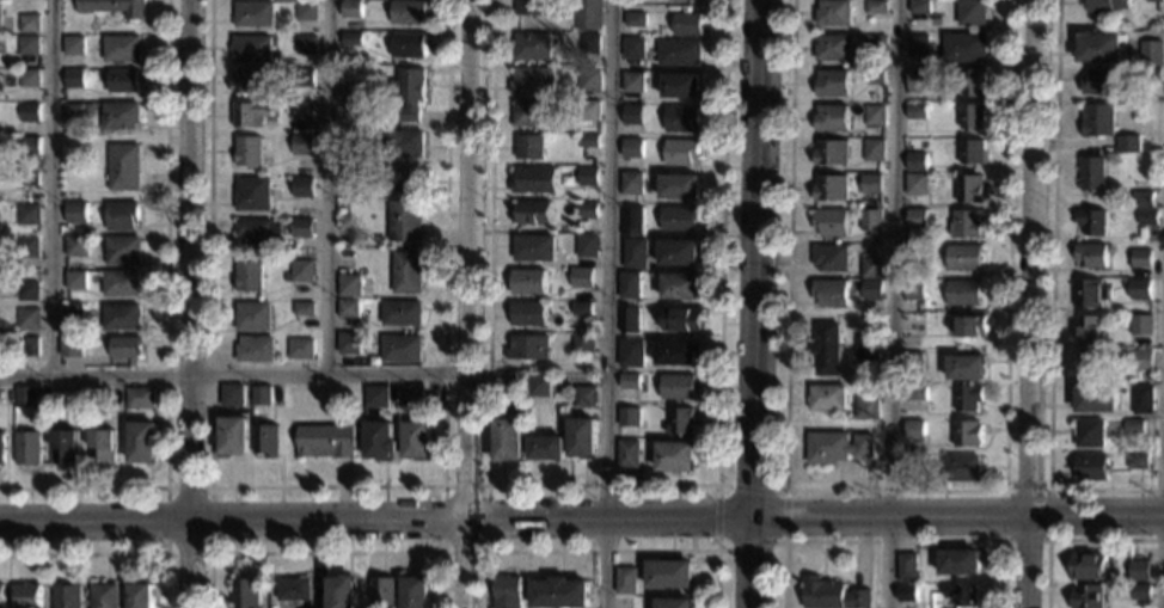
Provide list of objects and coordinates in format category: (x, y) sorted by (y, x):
building: (1150, 1)
building: (111, 7)
building: (529, 7)
building: (917, 7)
building: (1102, 7)
building: (353, 8)
building: (874, 8)
building: (307, 11)
building: (409, 12)
building: (255, 13)
building: (587, 13)
building: (832, 13)
building: (969, 13)
building: (0, 17)
building: (635, 19)
building: (29, 23)
building: (687, 24)
building: (353, 38)
building: (872, 43)
building: (27, 44)
building: (307, 44)
building: (588, 44)
building: (73, 45)
building: (409, 45)
building: (533, 45)
building: (914, 47)
building: (253, 48)
building: (633, 48)
building: (831, 48)
building: (1096, 48)
building: (121, 49)
building: (962, 49)
building: (1146, 51)
building: (679, 53)
building: (1147, 74)
building: (29, 78)
building: (305, 78)
building: (871, 78)
building: (74, 79)
building: (534, 80)
building: (588, 80)
building: (123, 81)
building: (245, 81)
building: (631, 81)
building: (915, 81)
building: (1096, 82)
building: (831, 84)
building: (970, 84)
building: (680, 85)
building: (345, 90)
building: (410, 93)
building: (88, 110)
building: (589, 110)
building: (305, 111)
building: (30, 112)
building: (914, 112)
building: (73, 113)
building: (252, 113)
building: (532, 113)
building: (632, 115)
building: (121, 116)
building: (872, 117)
building: (969, 117)
building: (681, 118)
building: (829, 119)
building: (1095, 121)
building: (349, 136)
building: (588, 141)
building: (403, 143)
building: (30, 145)
building: (304, 145)
building: (1126, 145)
building: (531, 146)
building: (632, 149)
building: (250, 151)
building: (871, 151)
building: (681, 153)
building: (829, 153)
building: (970, 154)
building: (915, 162)
building: (123, 166)
building: (1090, 174)
building: (350, 176)
building: (588, 177)
building: (27, 178)
building: (535, 179)
building: (405, 180)
building: (631, 182)
building: (869, 185)
building: (914, 185)
road: (49, 186)
building: (304, 186)
road: (327, 186)
building: (679, 186)
building: (829, 189)
building: (968, 190)
building: (253, 194)
building: (1140, 199)
building: (588, 210)
building: (75, 211)
building: (534, 211)
building: (27, 214)
building: (122, 215)
building: (1146, 217)
building: (679, 219)
building: (914, 219)
building: (405, 221)
building: (631, 221)
building: (870, 222)
building: (828, 223)
building: (1091, 223)
building: (963, 226)
building: (302, 227)
building: (257, 232)
building: (75, 245)
building: (534, 246)
building: (587, 246)
building: (27, 247)
building: (122, 250)
building: (678, 252)
building: (633, 253)
building: (911, 254)
building: (1090, 256)
building: (828, 258)
building: (962, 258)
road: (759, 259)
building: (1138, 259)
building: (870, 269)
building: (304, 271)
building: (406, 272)
building: (247, 276)
building: (582, 277)
building: (75, 280)
building: (528, 282)
building: (121, 284)
building: (349, 284)
building: (629, 284)
building: (681, 287)
building: (27, 290)
building: (1138, 290)
building: (870, 291)
building: (912, 291)
building: (962, 294)
building: (828, 295)
building: (1089, 295)
road: (1050, 302)
road: (190, 303)
road: (470, 303)
road: (607, 303)
road: (890, 303)
road: (1033, 303)
building: (304, 308)
building: (349, 308)
building: (581, 308)
building: (73, 313)
building: (402, 313)
building: (529, 313)
building: (253, 317)
building: (121, 318)
building: (27, 319)
building: (627, 319)
building: (684, 319)
building: (355, 324)
road: (165, 326)
building: (1139, 326)
building: (970, 327)
building: (1088, 331)
building: (349, 343)
building: (583, 344)
building: (32, 346)
building: (71, 346)
building: (125, 348)
building: (300, 348)
building: (527, 348)
building: (402, 349)
building: (255, 350)
building: (825, 350)
building: (866, 350)
building: (631, 352)
building: (676, 354)
building: (1140, 361)
building: (912, 363)
building: (1088, 363)
building: (964, 369)
road: (234, 374)
building: (629, 381)
building: (513, 385)
building: (539, 386)
building: (678, 387)
building: (411, 394)
building: (913, 394)
building: (232, 395)
building: (261, 395)
building: (375, 397)
building: (584, 397)
building: (26, 398)
building: (139, 398)
building: (825, 399)
building: (967, 399)
building: (1095, 399)
building: (1141, 400)
building: (93, 410)
building: (865, 410)
building: (629, 417)
building: (680, 422)
building: (1133, 428)
building: (913, 431)
building: (1089, 434)
building: (967, 435)
building: (233, 436)
building: (582, 437)
building: (265, 440)
building: (416, 440)
building: (507, 440)
building: (380, 441)
building: (143, 442)
building: (324, 442)
building: (66, 447)
building: (103, 447)
building: (27, 448)
building: (546, 448)
building: (1, 449)
building: (835, 449)
building: (912, 452)
building: (627, 454)
building: (675, 456)
building: (1137, 462)
building: (911, 463)
building: (961, 468)
building: (1091, 468)
road: (600, 485)
road: (324, 486)
road: (442, 486)
road: (777, 491)
road: (894, 491)
road: (960, 520)
road: (378, 522)
road: (1047, 540)
road: (1071, 540)
road: (894, 541)
road: (600, 551)
road: (208, 552)
road: (326, 552)
road: (110, 553)
building: (960, 563)
road: (753, 564)
building: (1090, 565)
building: (907, 569)
building: (1140, 571)
building: (670, 575)
building: (625, 581)
building: (293, 589)
building: (382, 591)
building: (508, 591)
building: (244, 592)
building: (339, 592)
building: (415, 592)
building: (1141, 592)
building: (560, 594)
building: (963, 594)
building: (139, 595)
building: (834, 595)
building: (907, 595)
building: (1, 596)
building: (29, 596)
building: (67, 596)
building: (104, 596)
building: (1088, 596)
building: (675, 603)

